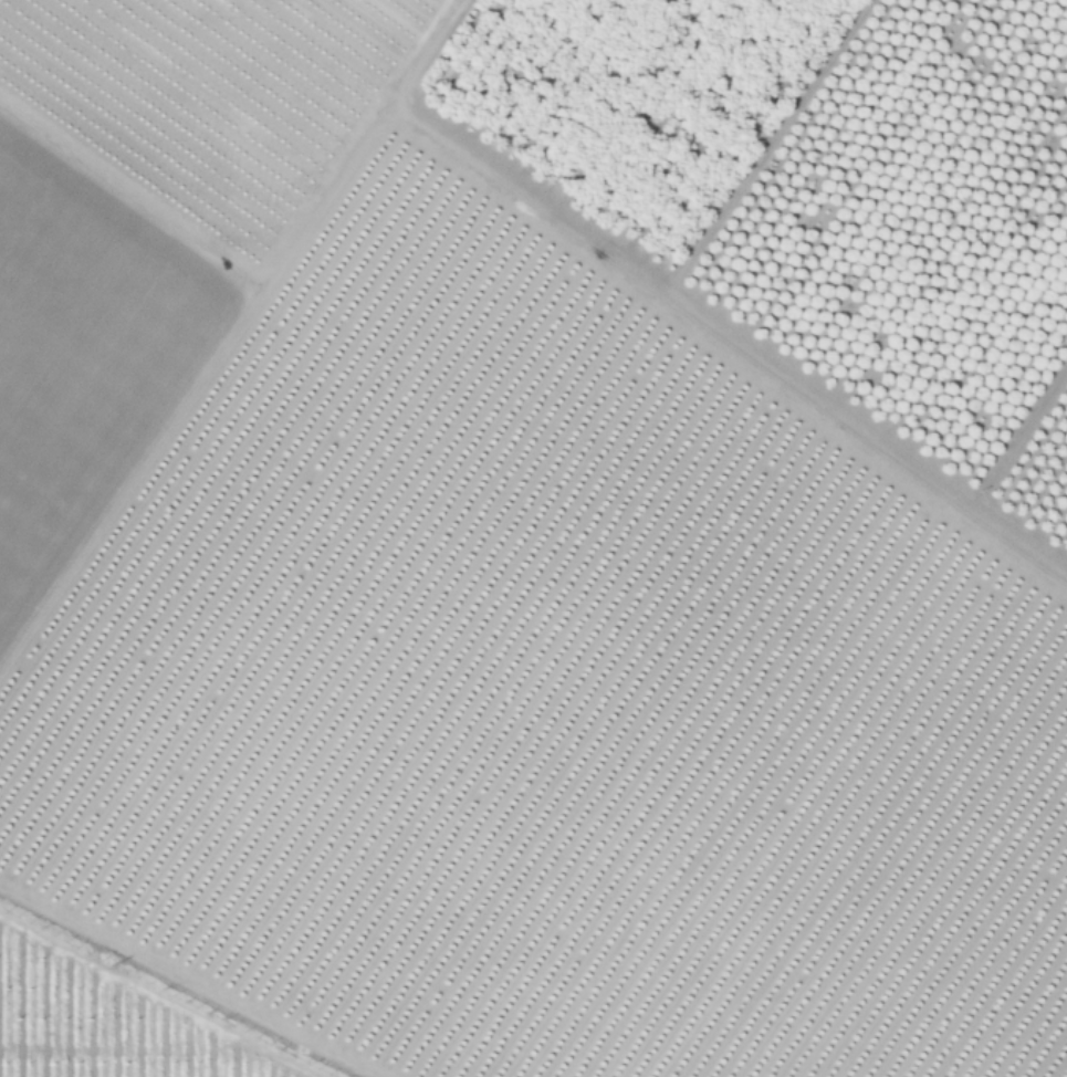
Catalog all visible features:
crop: (153, 216)

